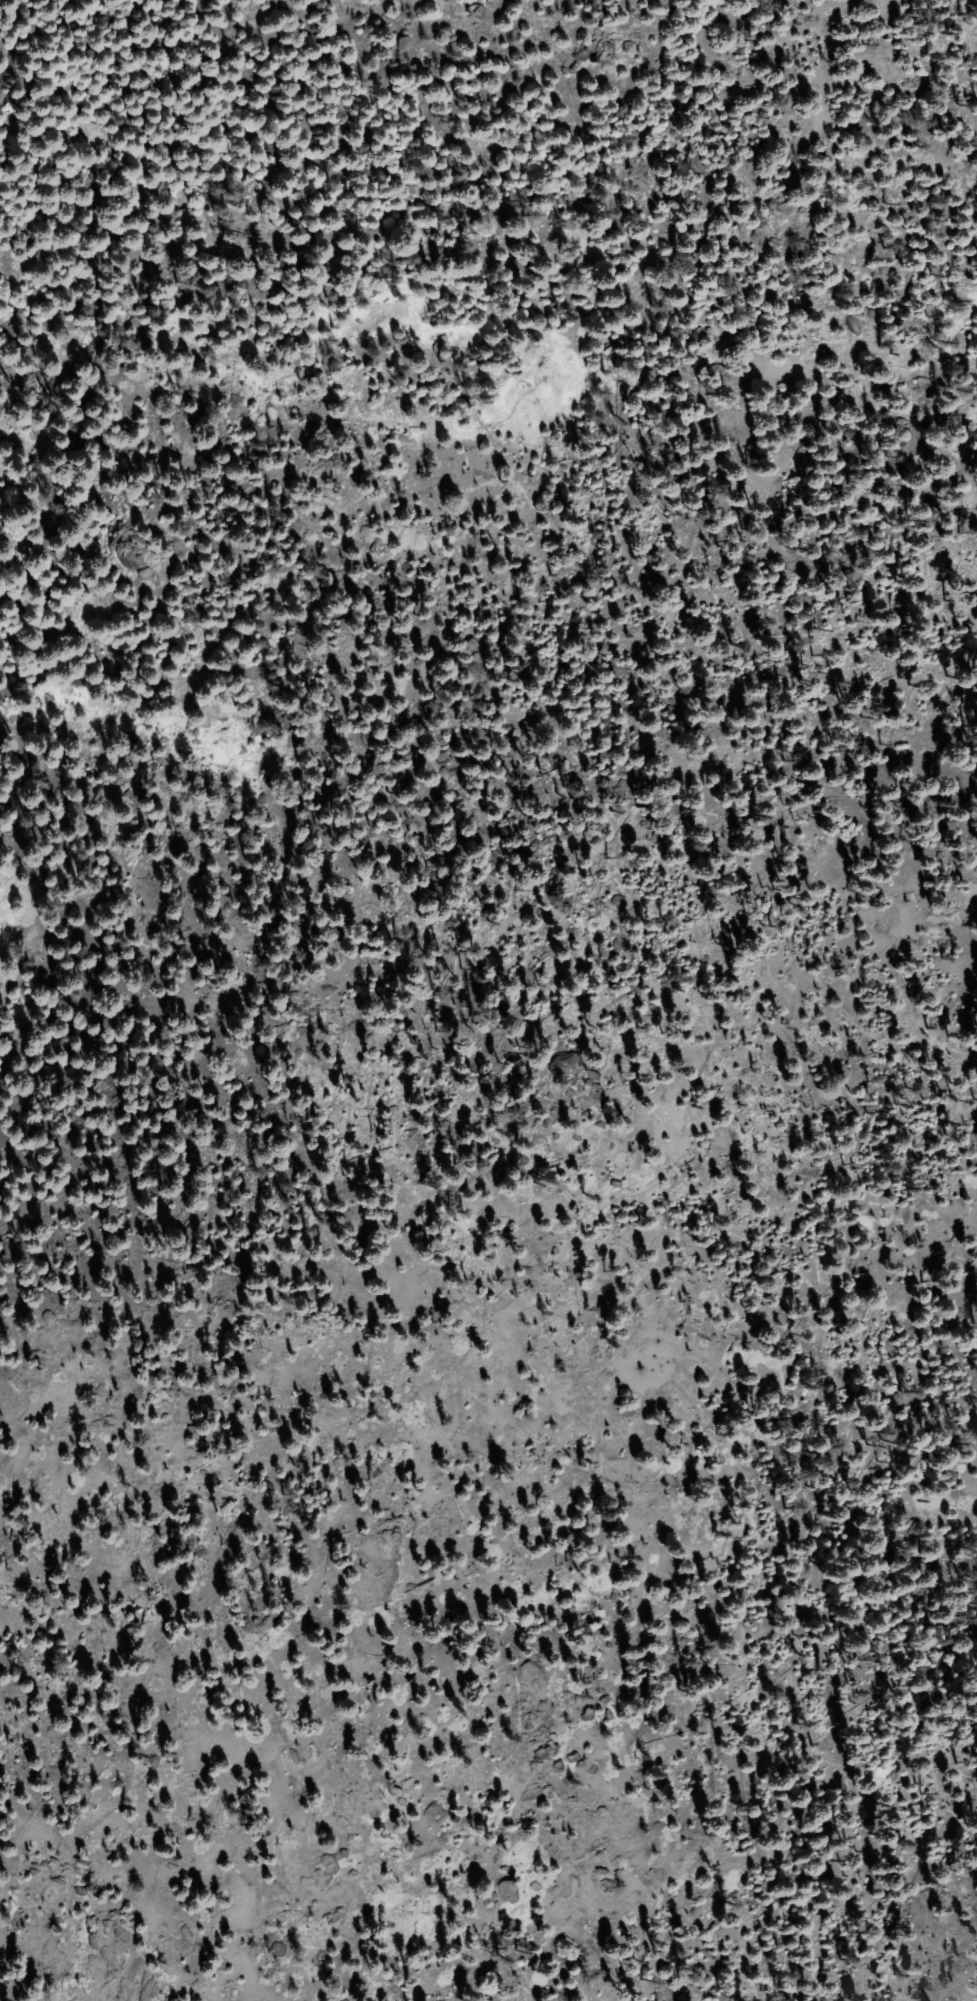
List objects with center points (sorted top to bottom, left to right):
road: (379, 747)
road: (493, 1457)

